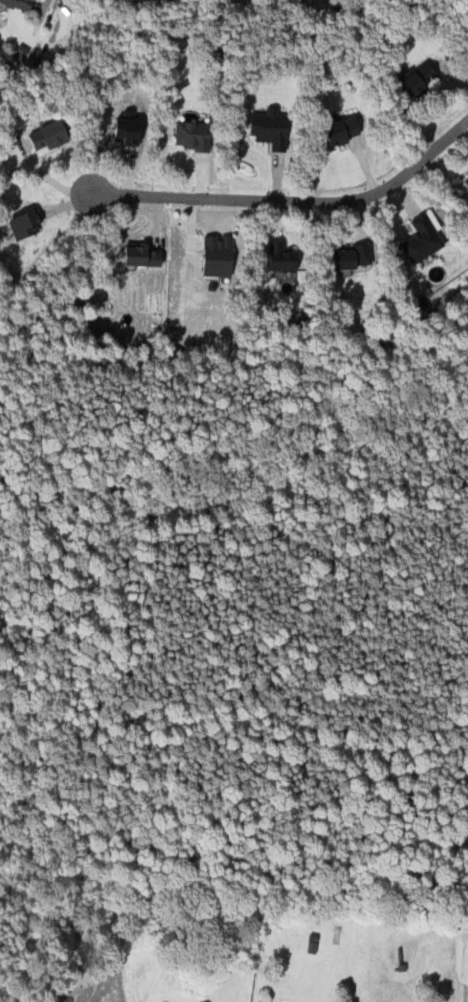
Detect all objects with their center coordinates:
road: (44, 3)
building: (15, 4)
building: (415, 79)
building: (266, 128)
building: (338, 130)
building: (44, 135)
building: (189, 136)
building: (466, 181)
road: (295, 202)
building: (22, 225)
building: (418, 239)
building: (138, 256)
building: (214, 256)
building: (278, 257)
building: (348, 257)

